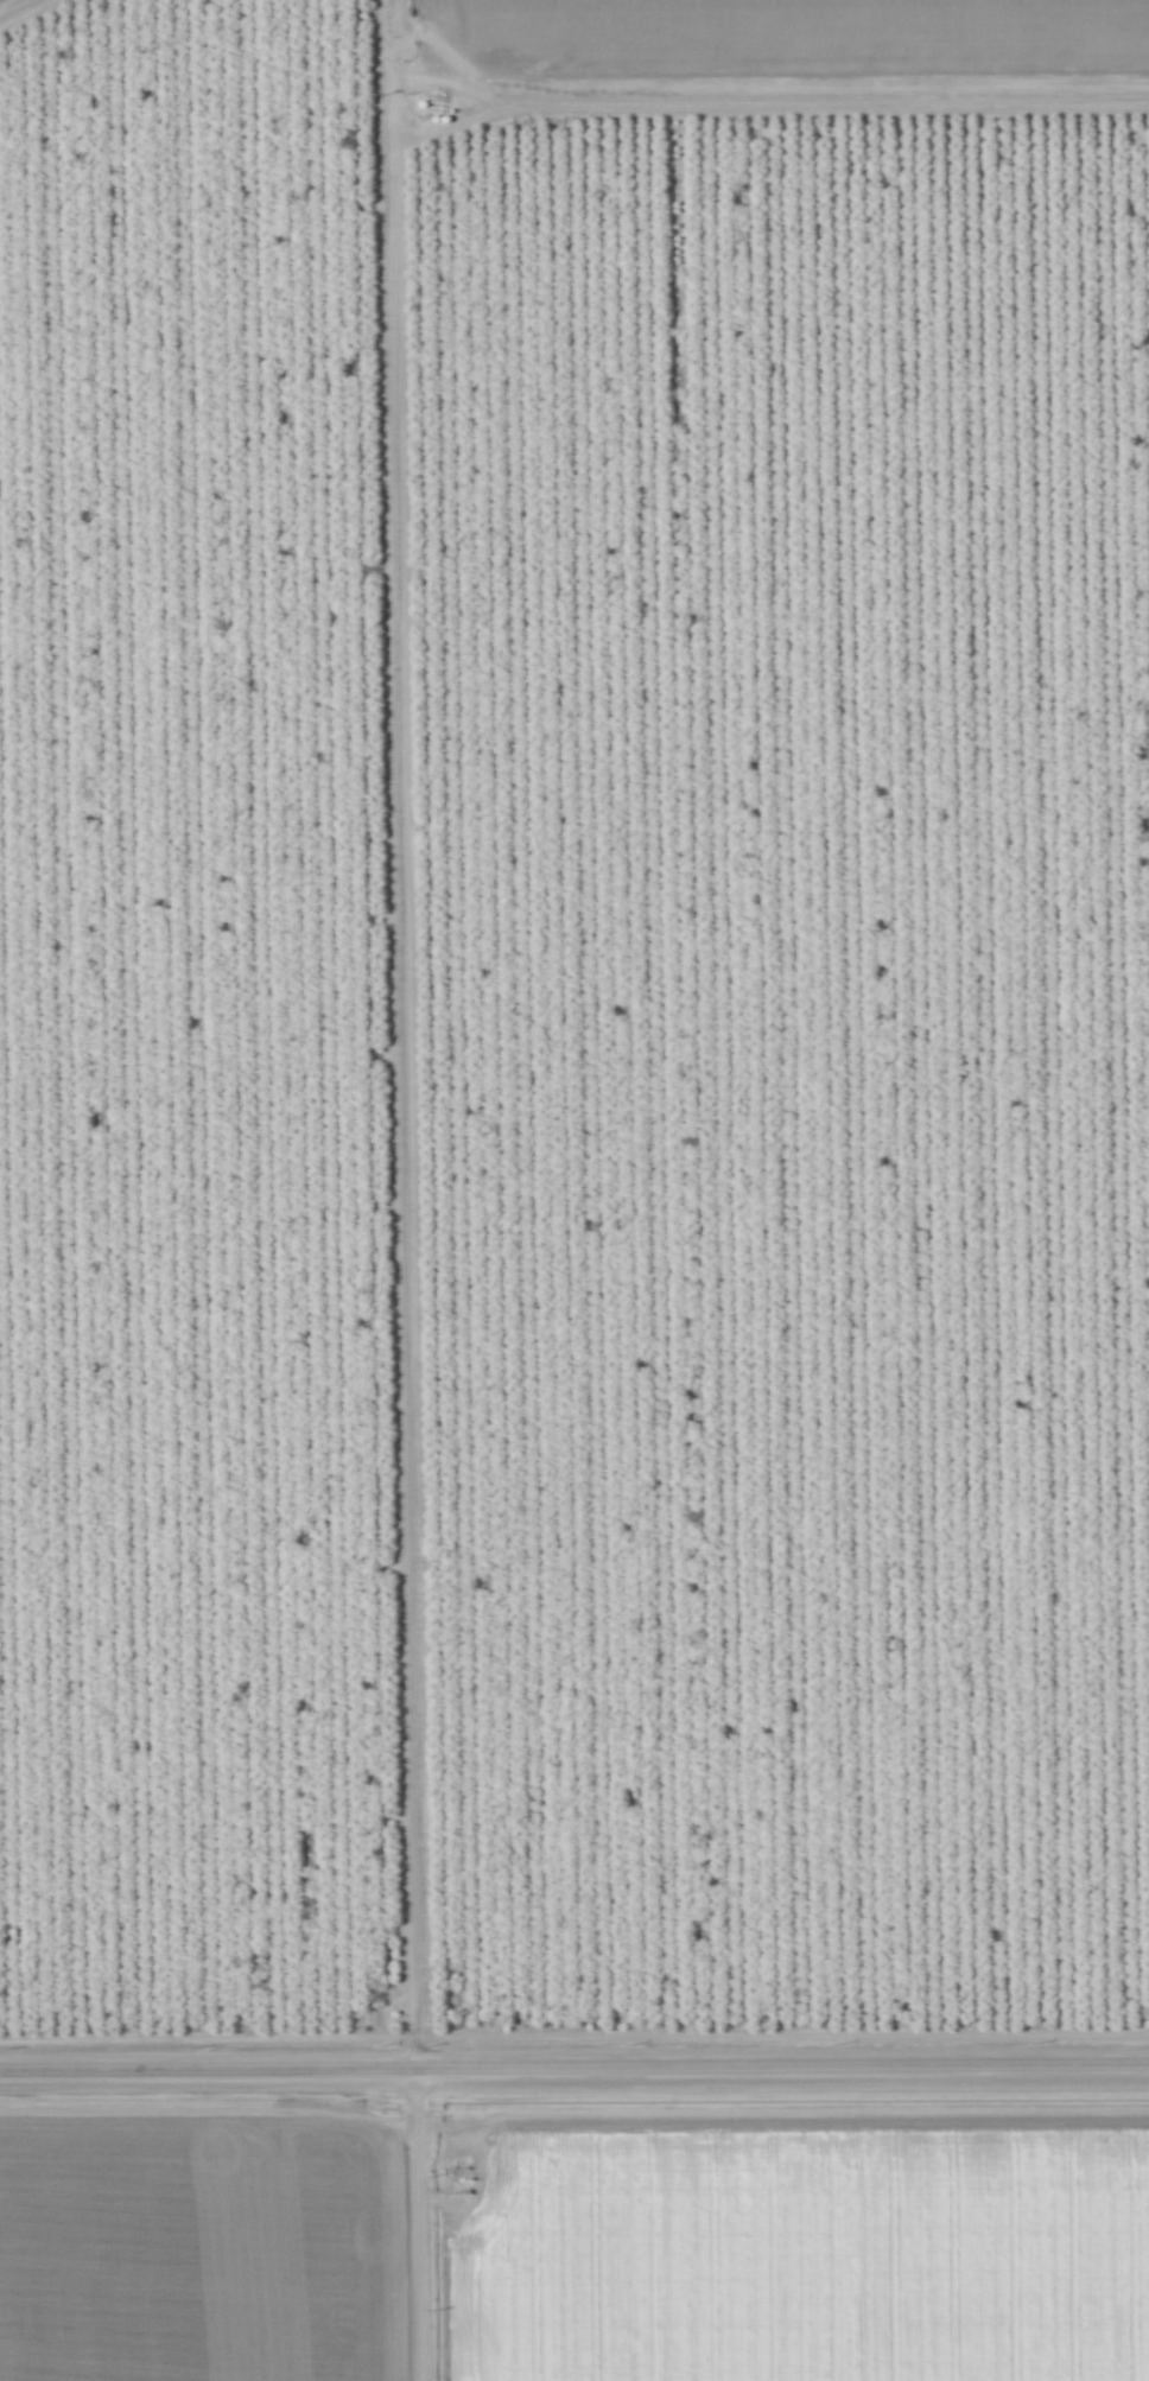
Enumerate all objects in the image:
crop: (761, 37)
road: (398, 1190)
road: (573, 2063)
crop: (775, 2231)
crop: (201, 2233)

